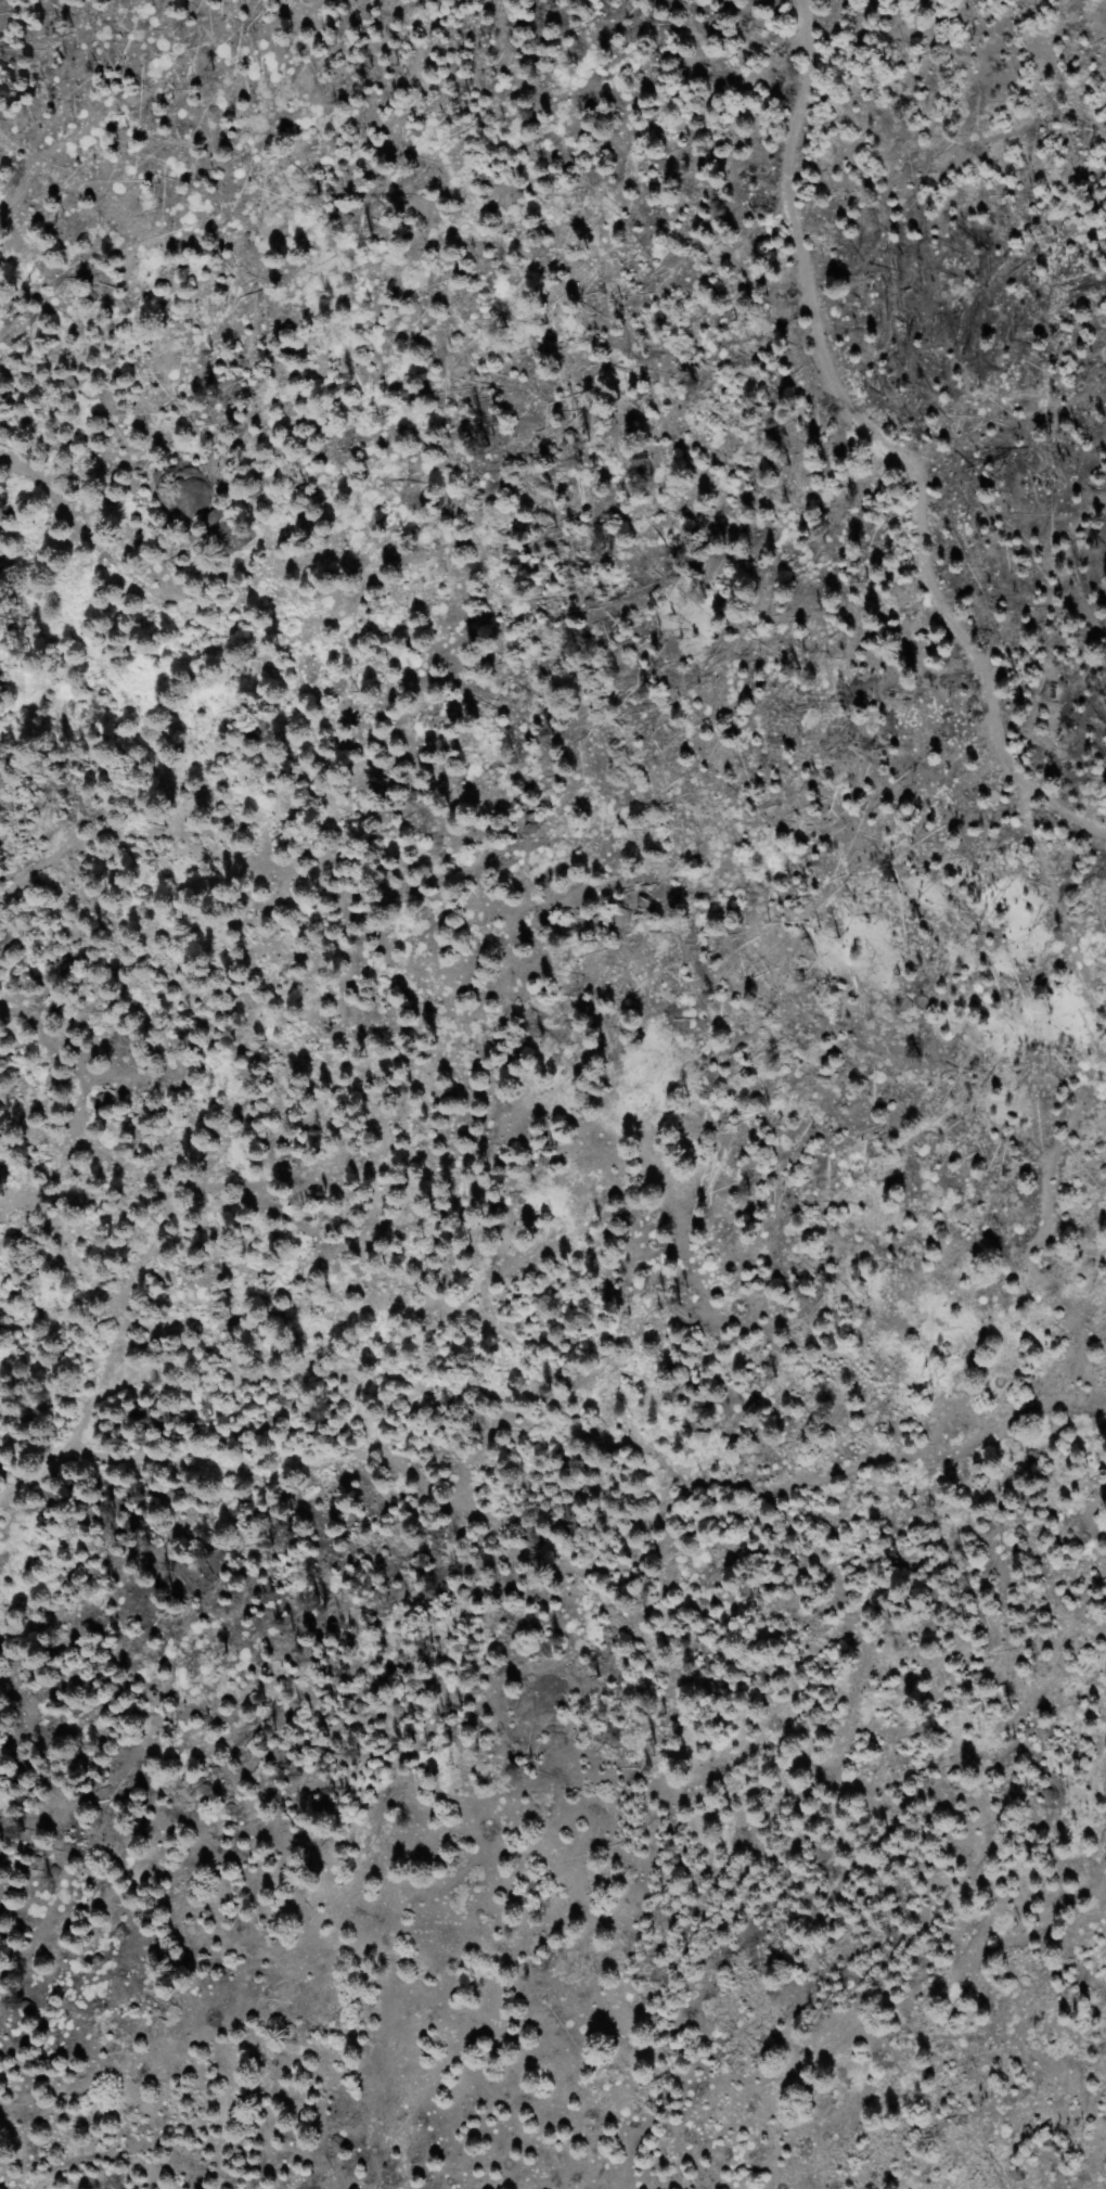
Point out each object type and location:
road: (886, 443)

